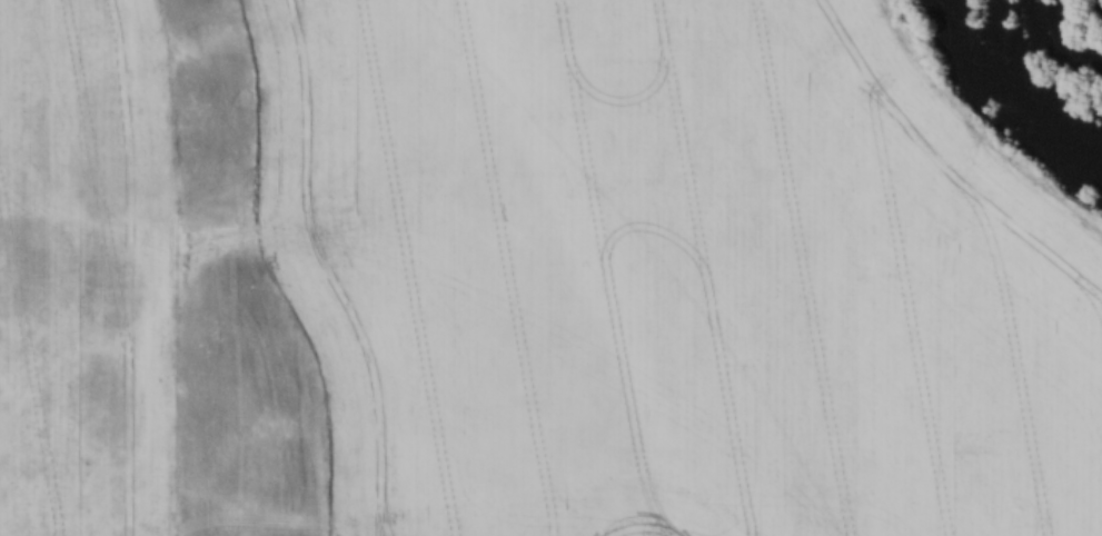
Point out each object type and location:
river: (1009, 90)

